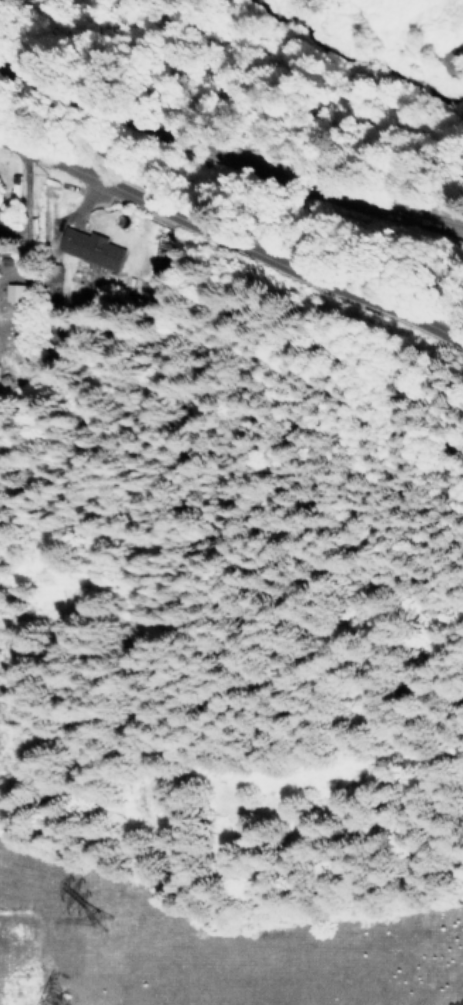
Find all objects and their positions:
road: (230, 162)
building: (2, 240)
building: (91, 246)
road: (230, 247)
building: (14, 291)
power tower: (94, 923)

